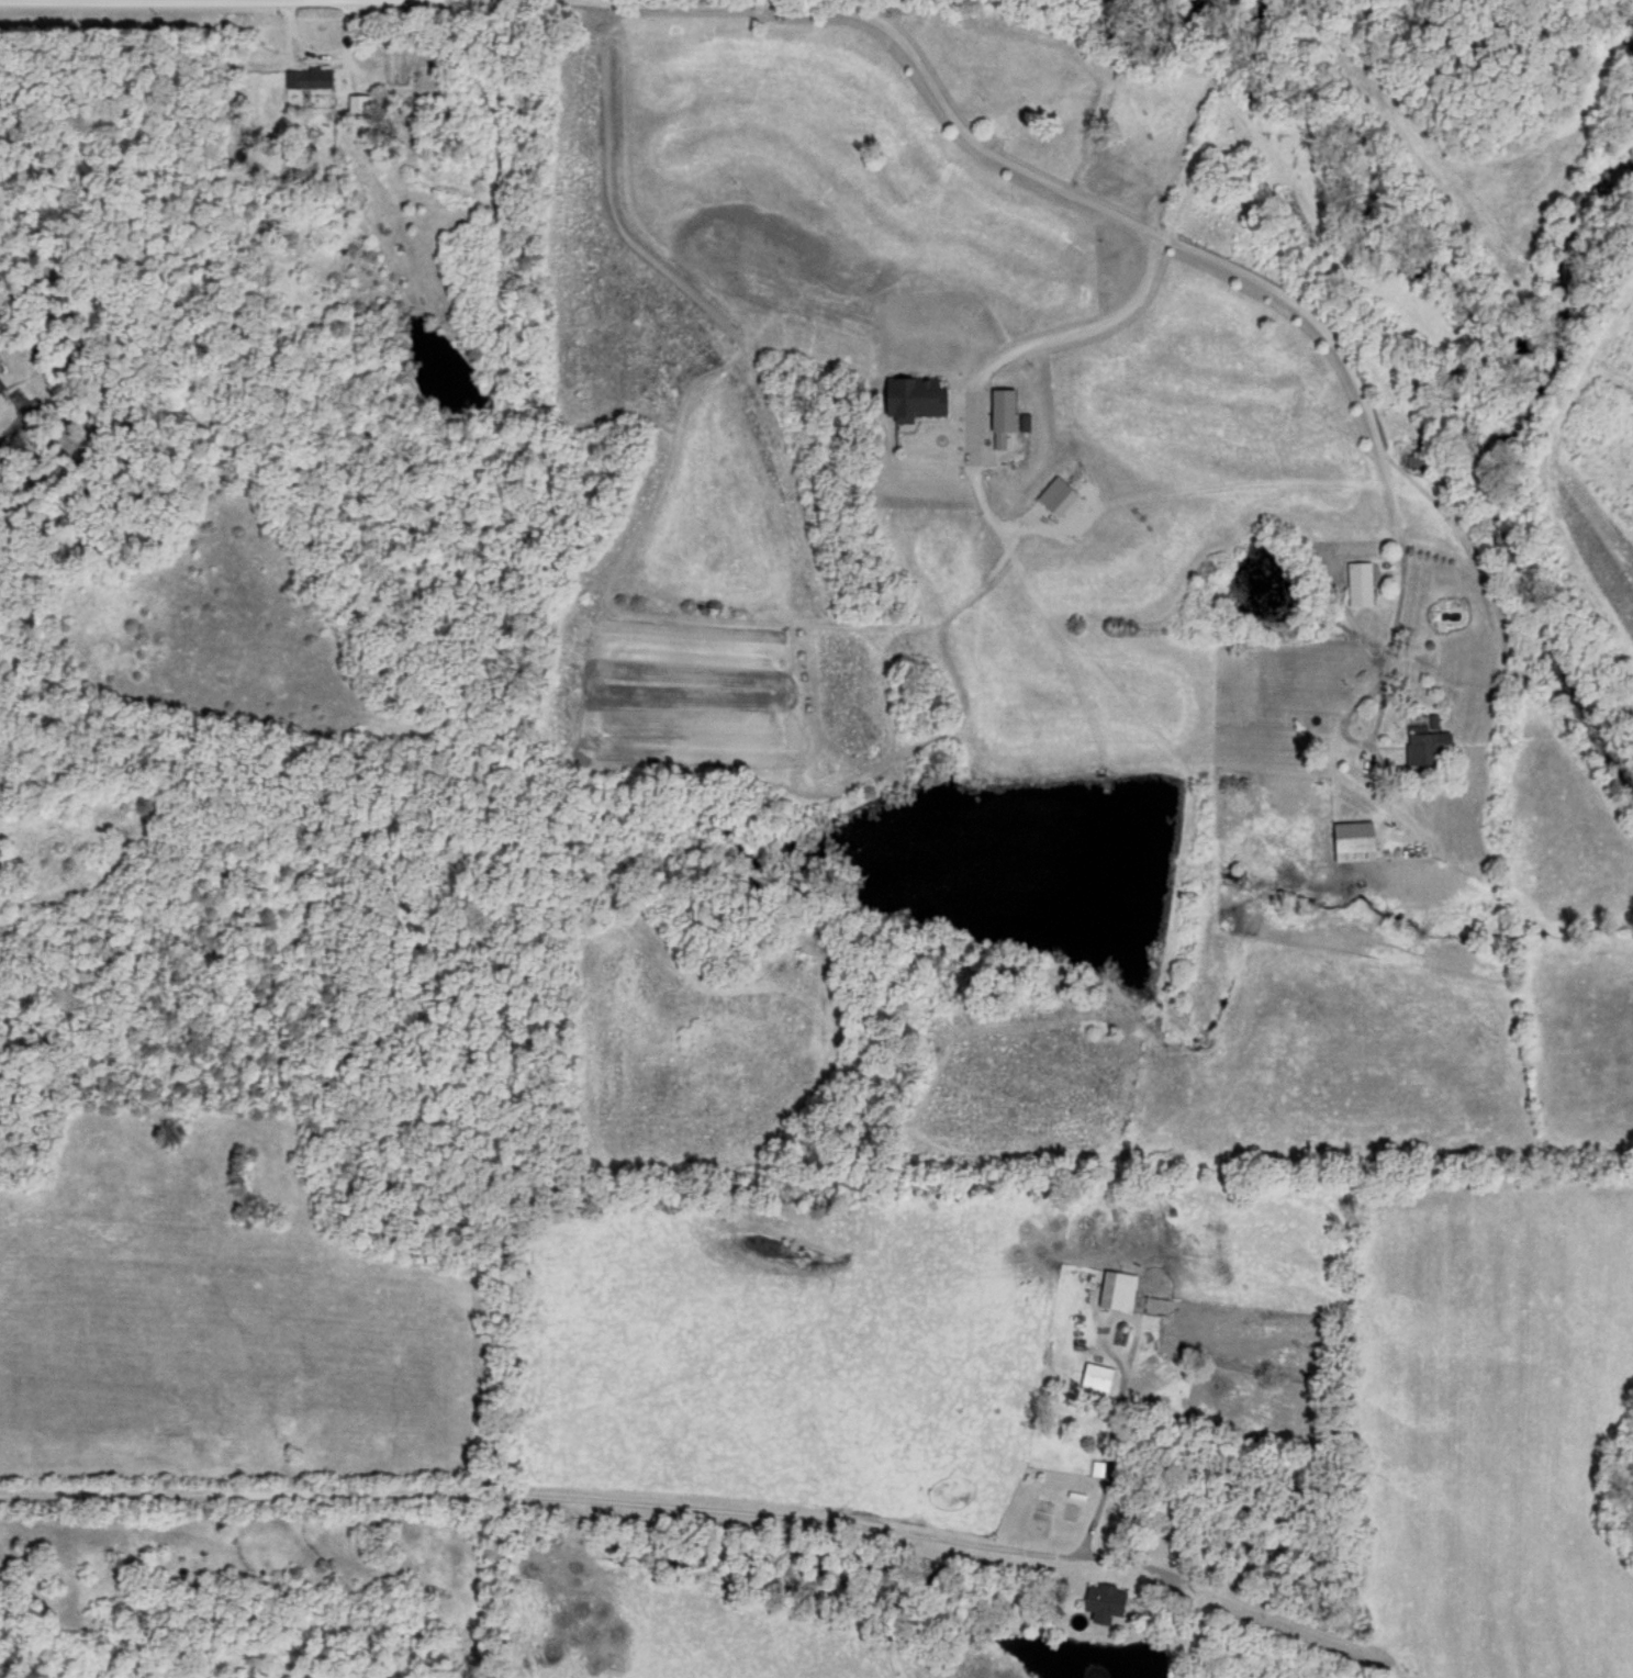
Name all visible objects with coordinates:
road: (246, 1)
building: (310, 75)
building: (362, 101)
road: (1141, 227)
road: (1063, 333)
building: (3, 383)
building: (921, 394)
building: (1007, 412)
road: (20, 428)
building: (1417, 459)
building: (1361, 581)
road: (1344, 712)
building: (1431, 740)
road: (1361, 787)
building: (1356, 839)
building: (1121, 1287)
building: (1100, 1373)
road: (1111, 1466)
road: (715, 1512)
building: (1108, 1598)

